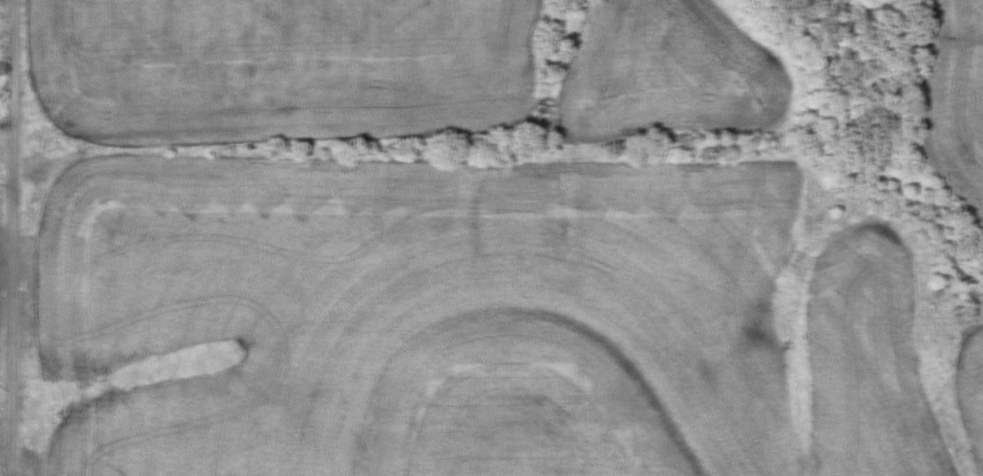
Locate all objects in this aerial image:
road: (11, 237)

